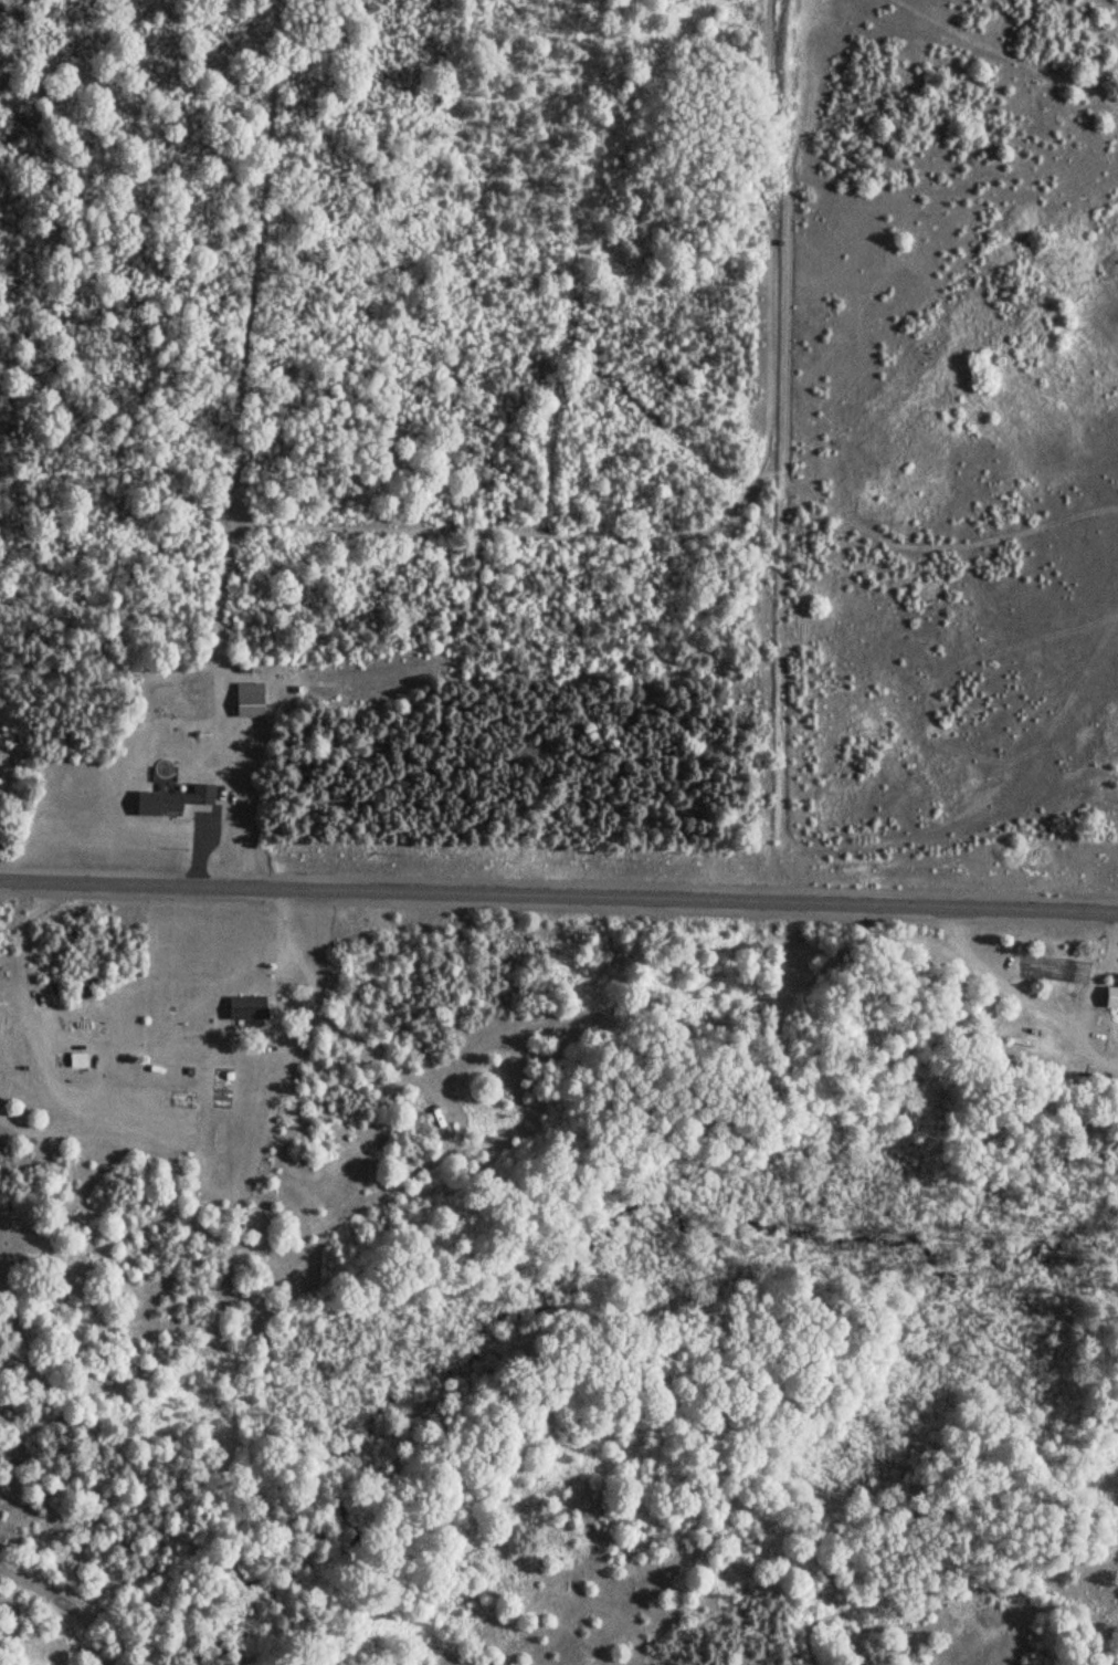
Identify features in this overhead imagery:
building: (246, 704)
building: (1, 740)
building: (169, 800)
road: (559, 897)
building: (1112, 994)
building: (245, 1007)

